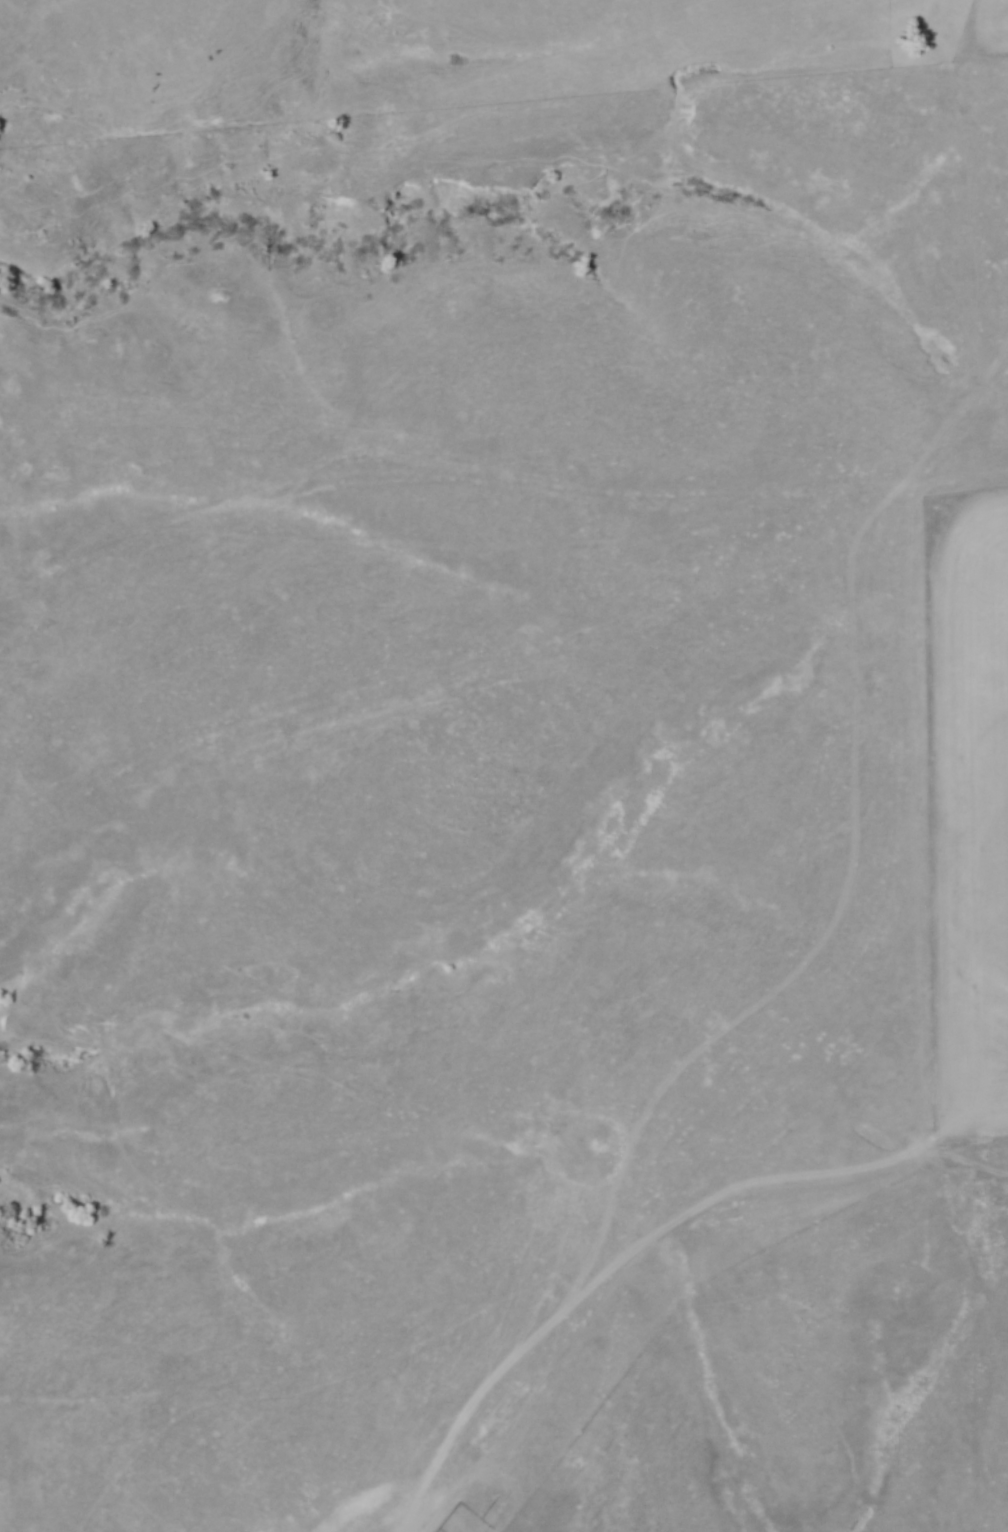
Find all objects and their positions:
crop: (986, 21)

